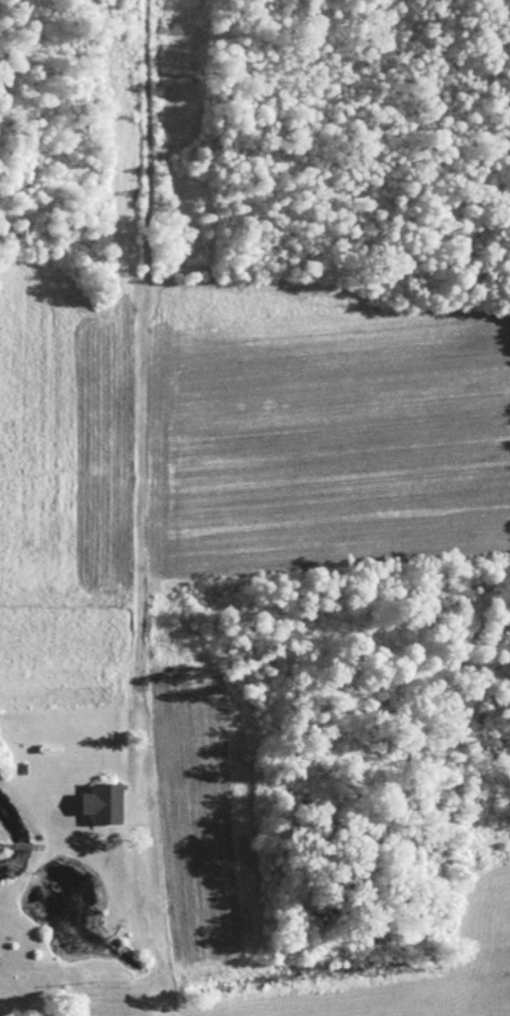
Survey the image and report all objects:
building: (97, 803)

